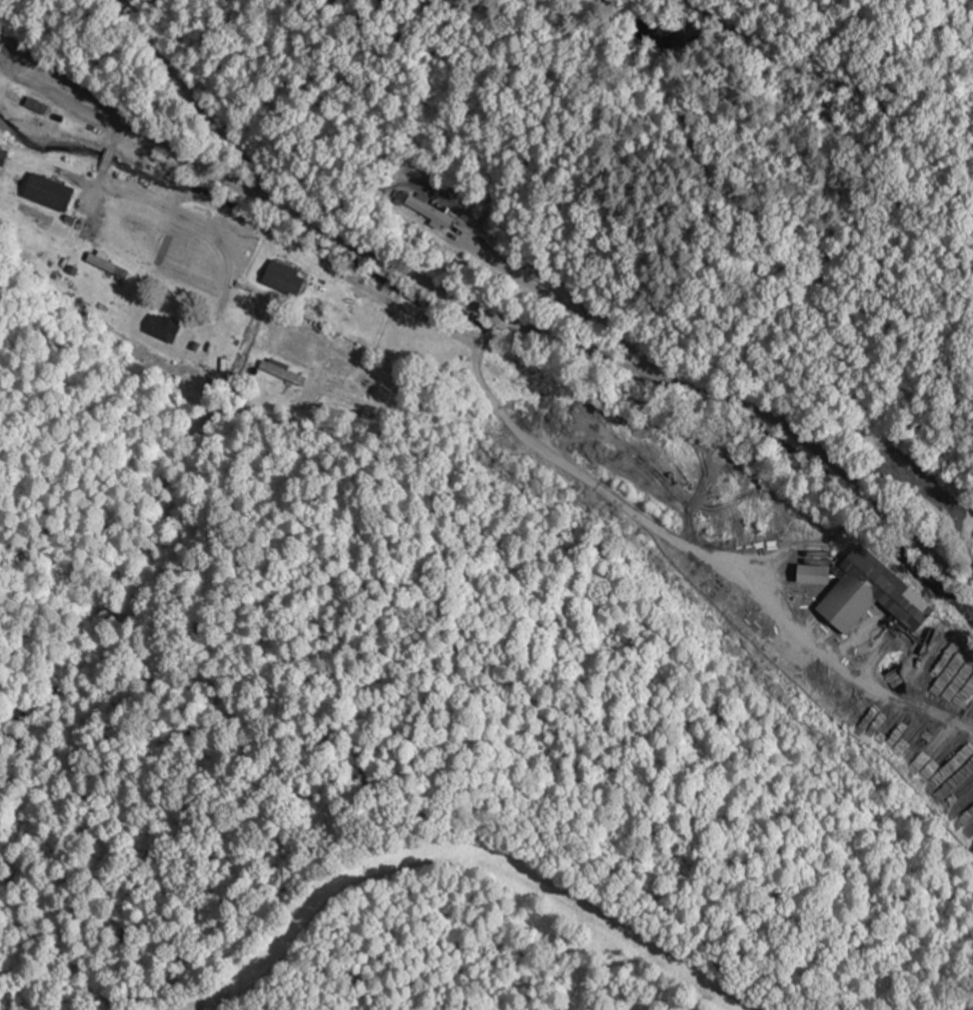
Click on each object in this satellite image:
road: (207, 84)
building: (28, 100)
building: (4, 155)
building: (51, 191)
building: (441, 217)
building: (285, 278)
road: (492, 311)
building: (164, 328)
building: (273, 382)
building: (930, 496)
building: (868, 590)

